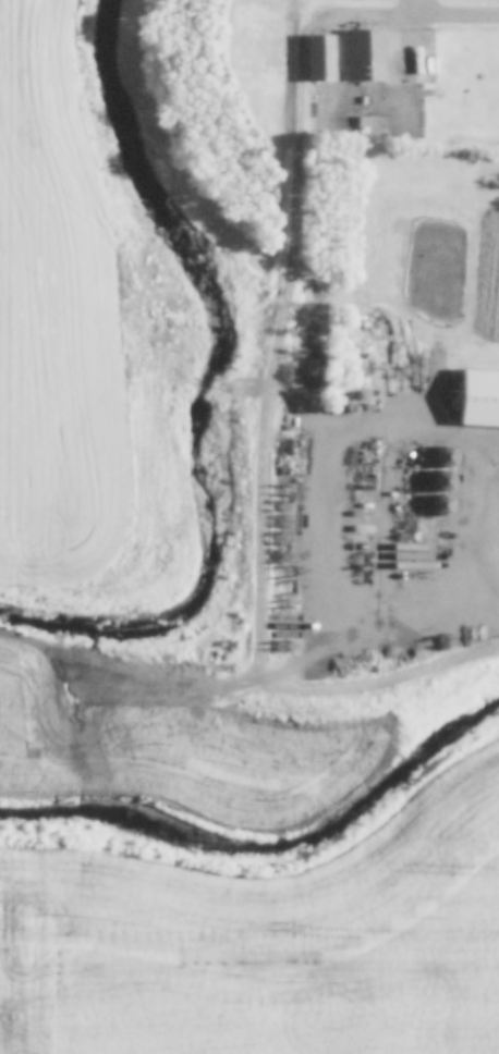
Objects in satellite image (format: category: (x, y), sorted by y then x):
road: (429, 16)
building: (370, 57)
building: (325, 59)
building: (478, 399)
building: (445, 457)
silo: (445, 457)
building: (442, 481)
silo: (442, 481)
building: (441, 506)
silo: (441, 506)

